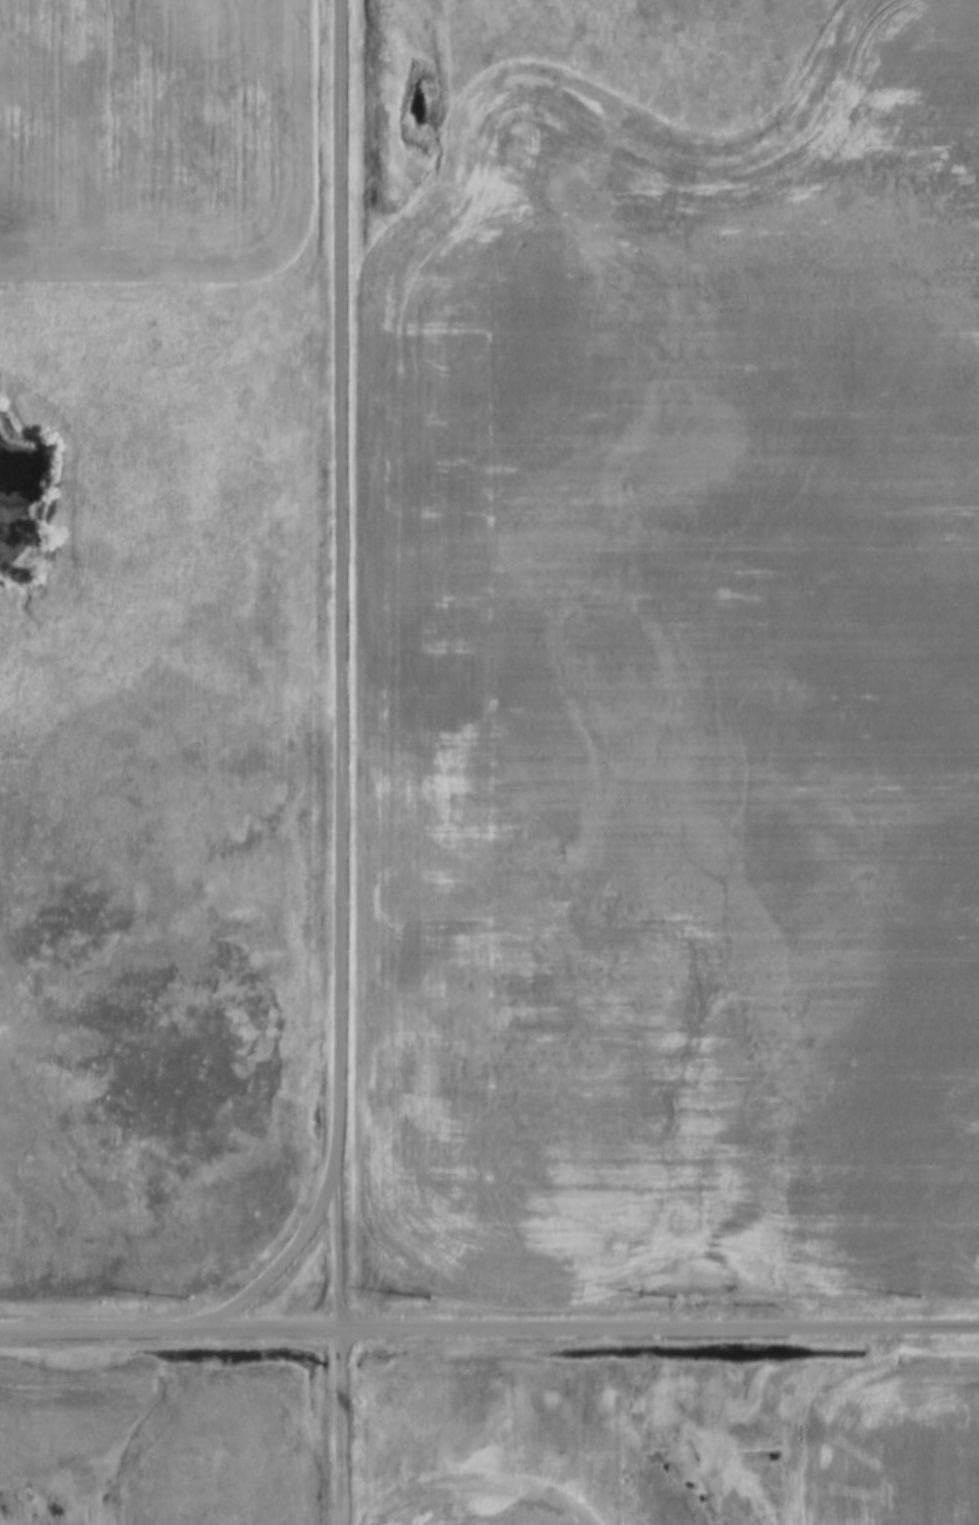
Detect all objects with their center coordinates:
road: (342, 664)
road: (276, 1270)
road: (489, 1326)
road: (341, 1426)

